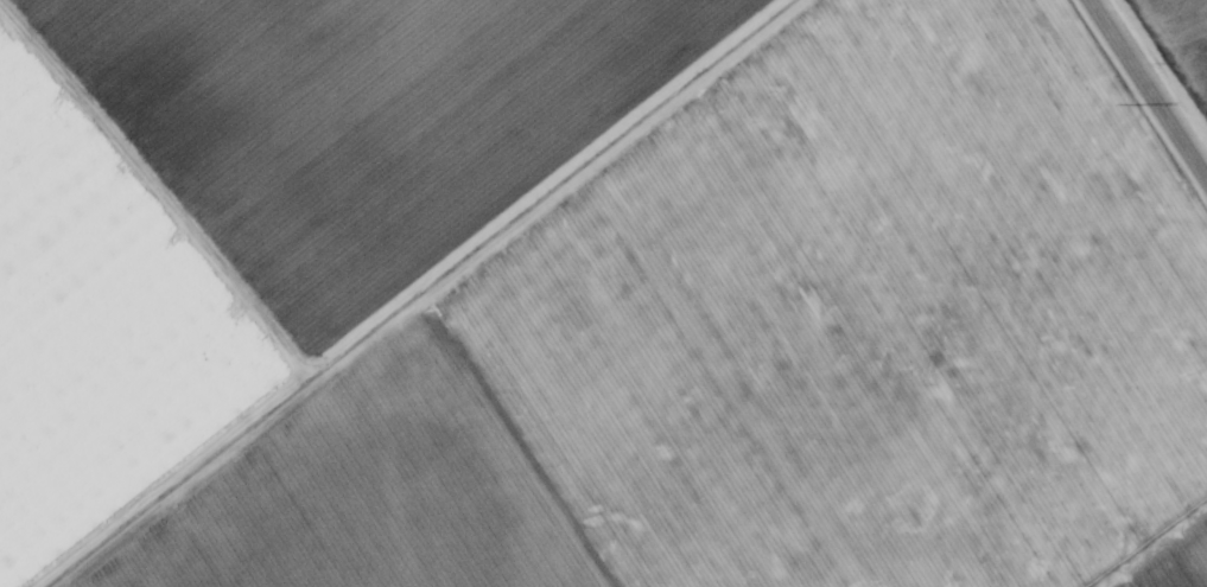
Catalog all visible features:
road: (1145, 94)
road: (485, 293)
crop: (603, 293)

